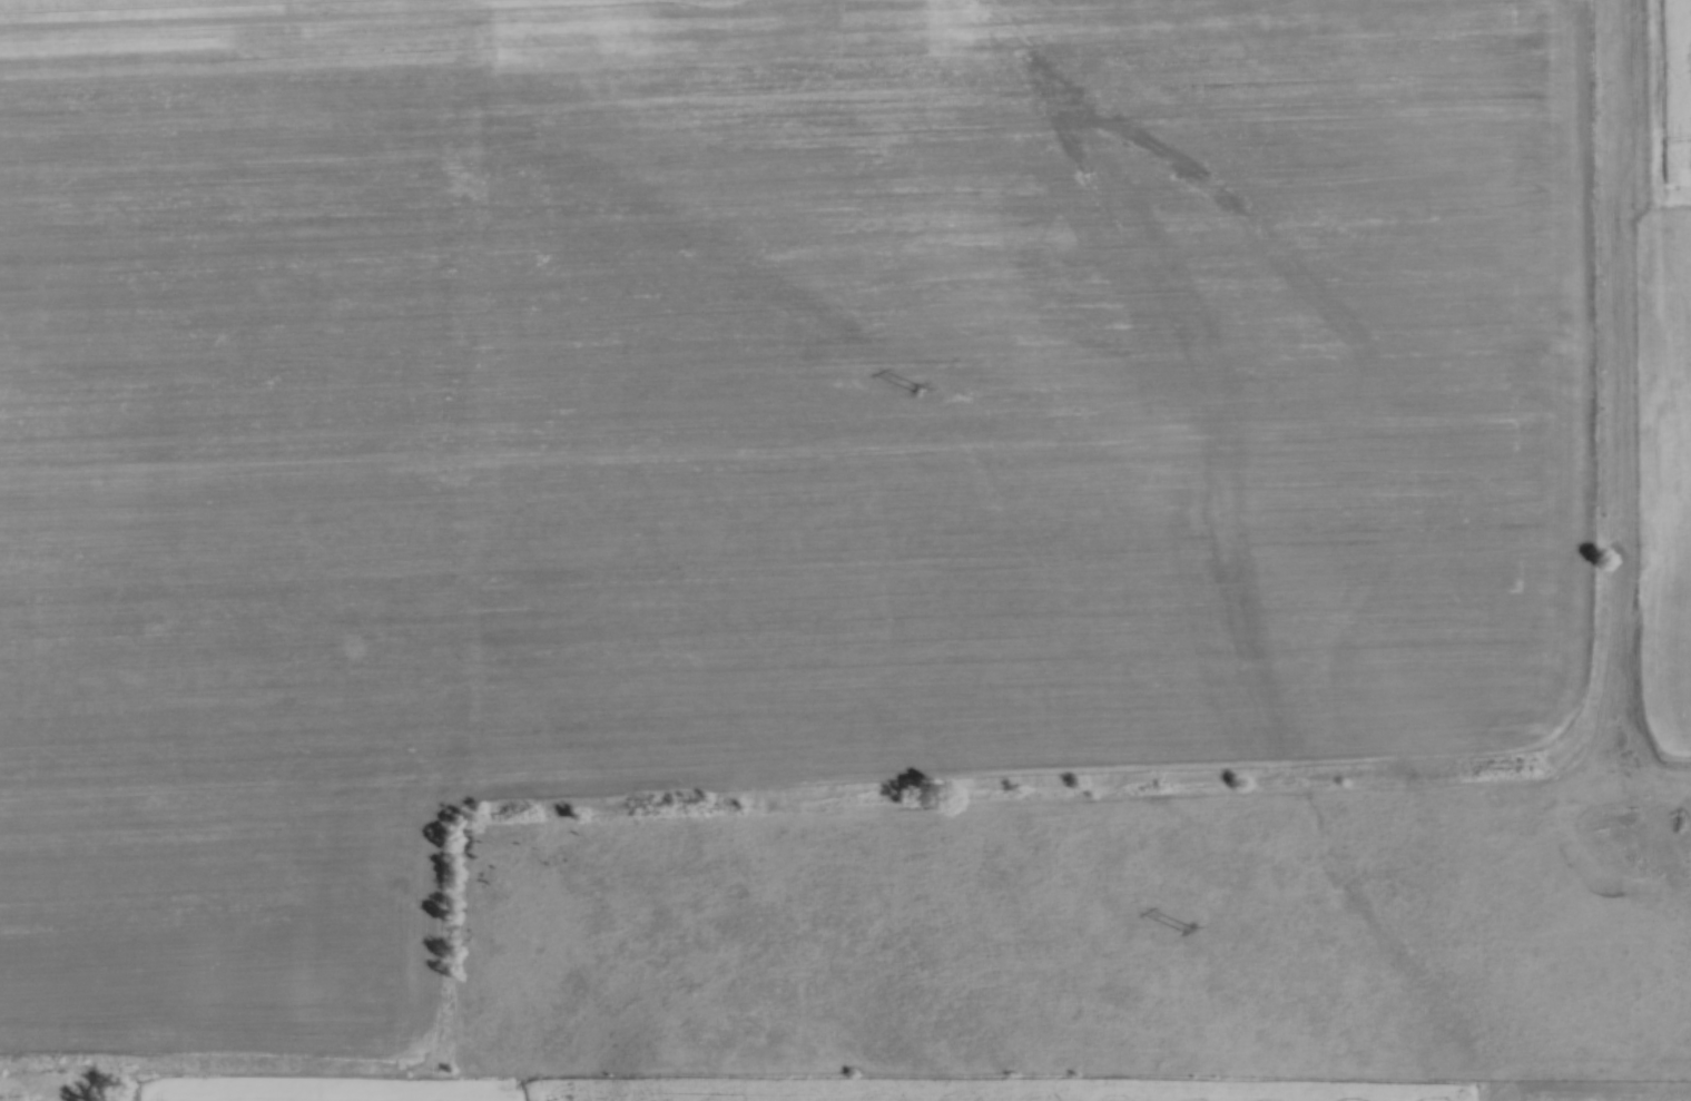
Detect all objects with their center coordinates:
power tower: (922, 389)
power tower: (1189, 926)

